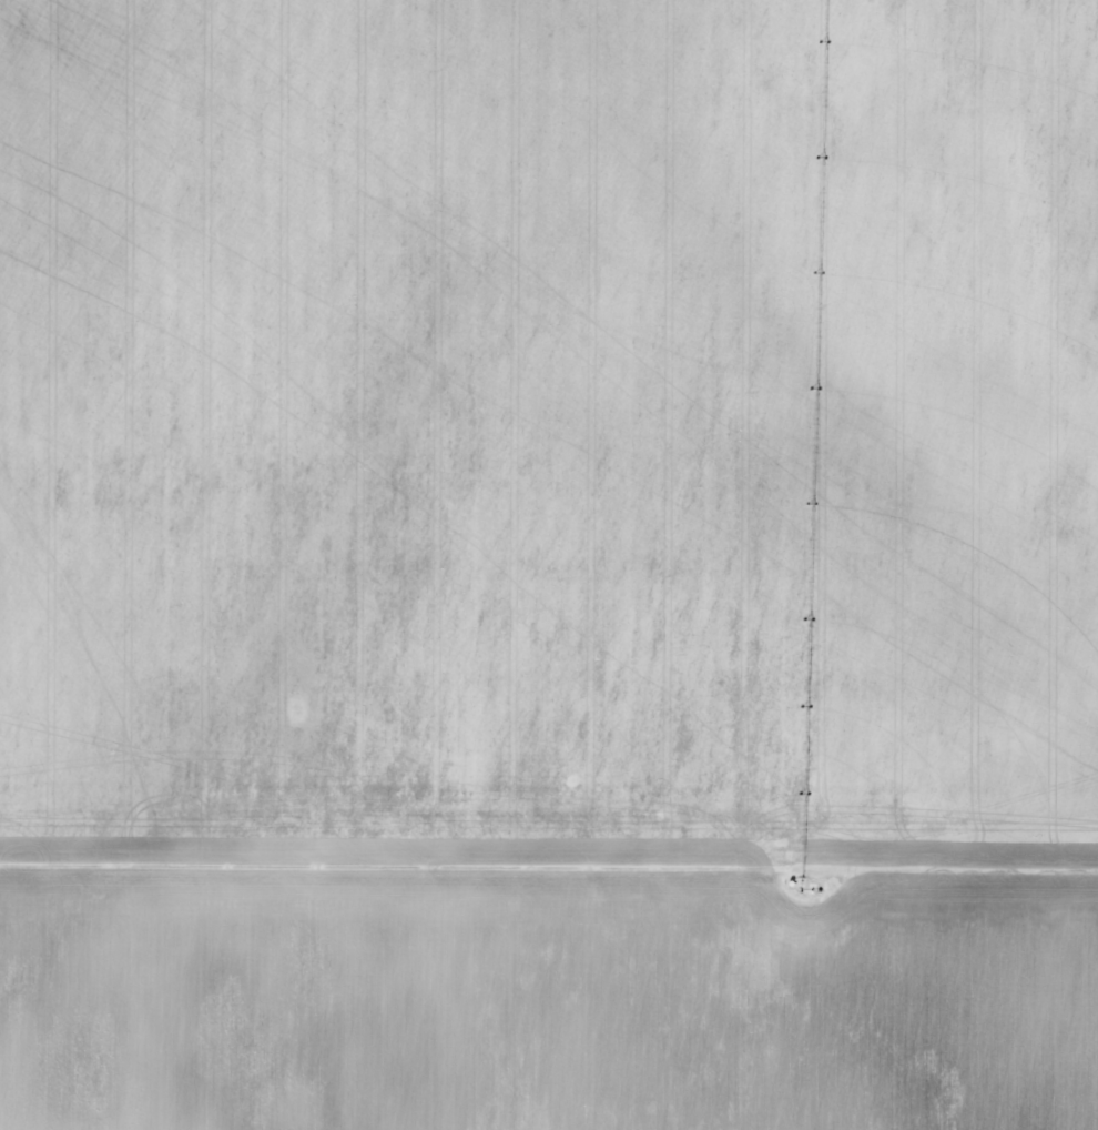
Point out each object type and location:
road: (958, 869)

